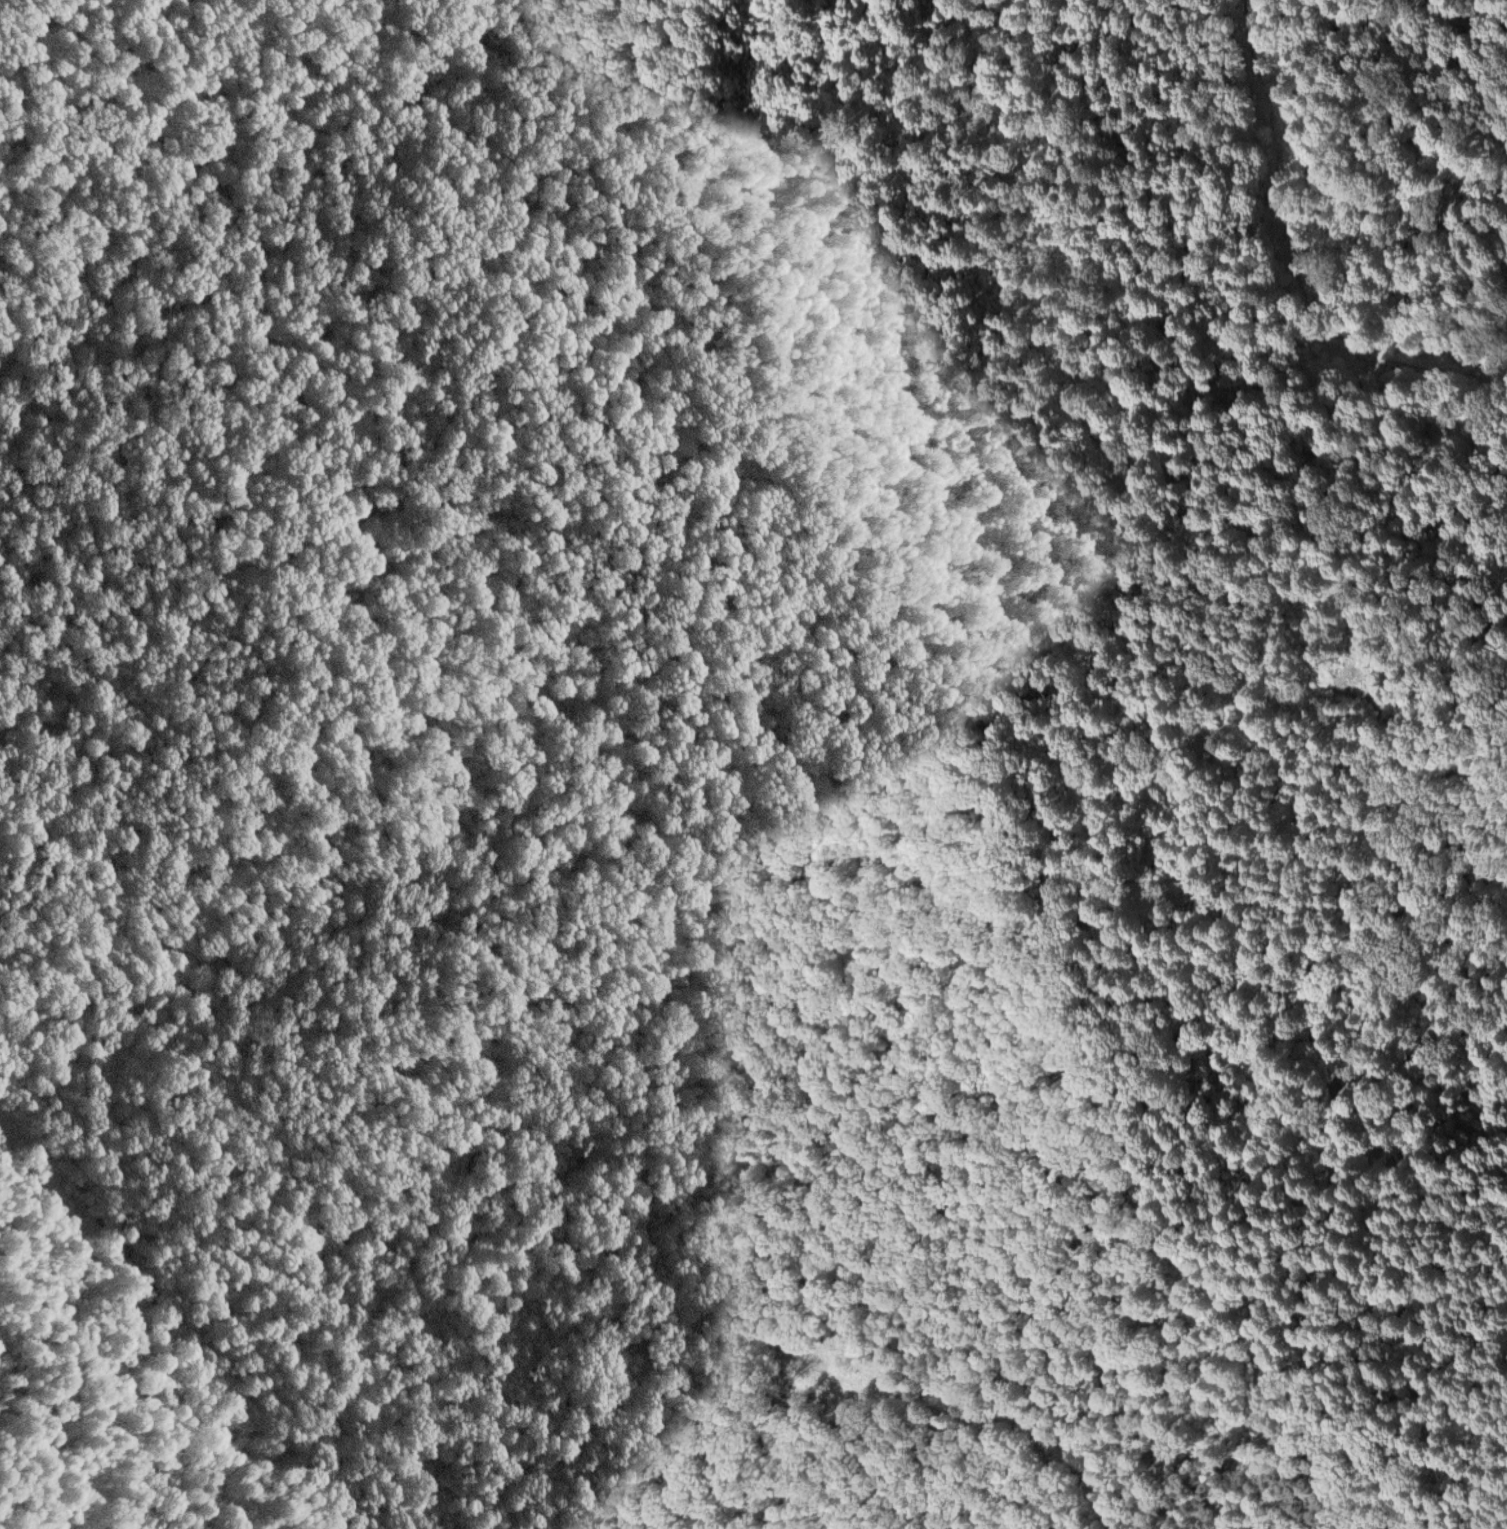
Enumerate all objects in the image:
road: (1274, 137)
road: (992, 1417)
road: (1347, 1432)

